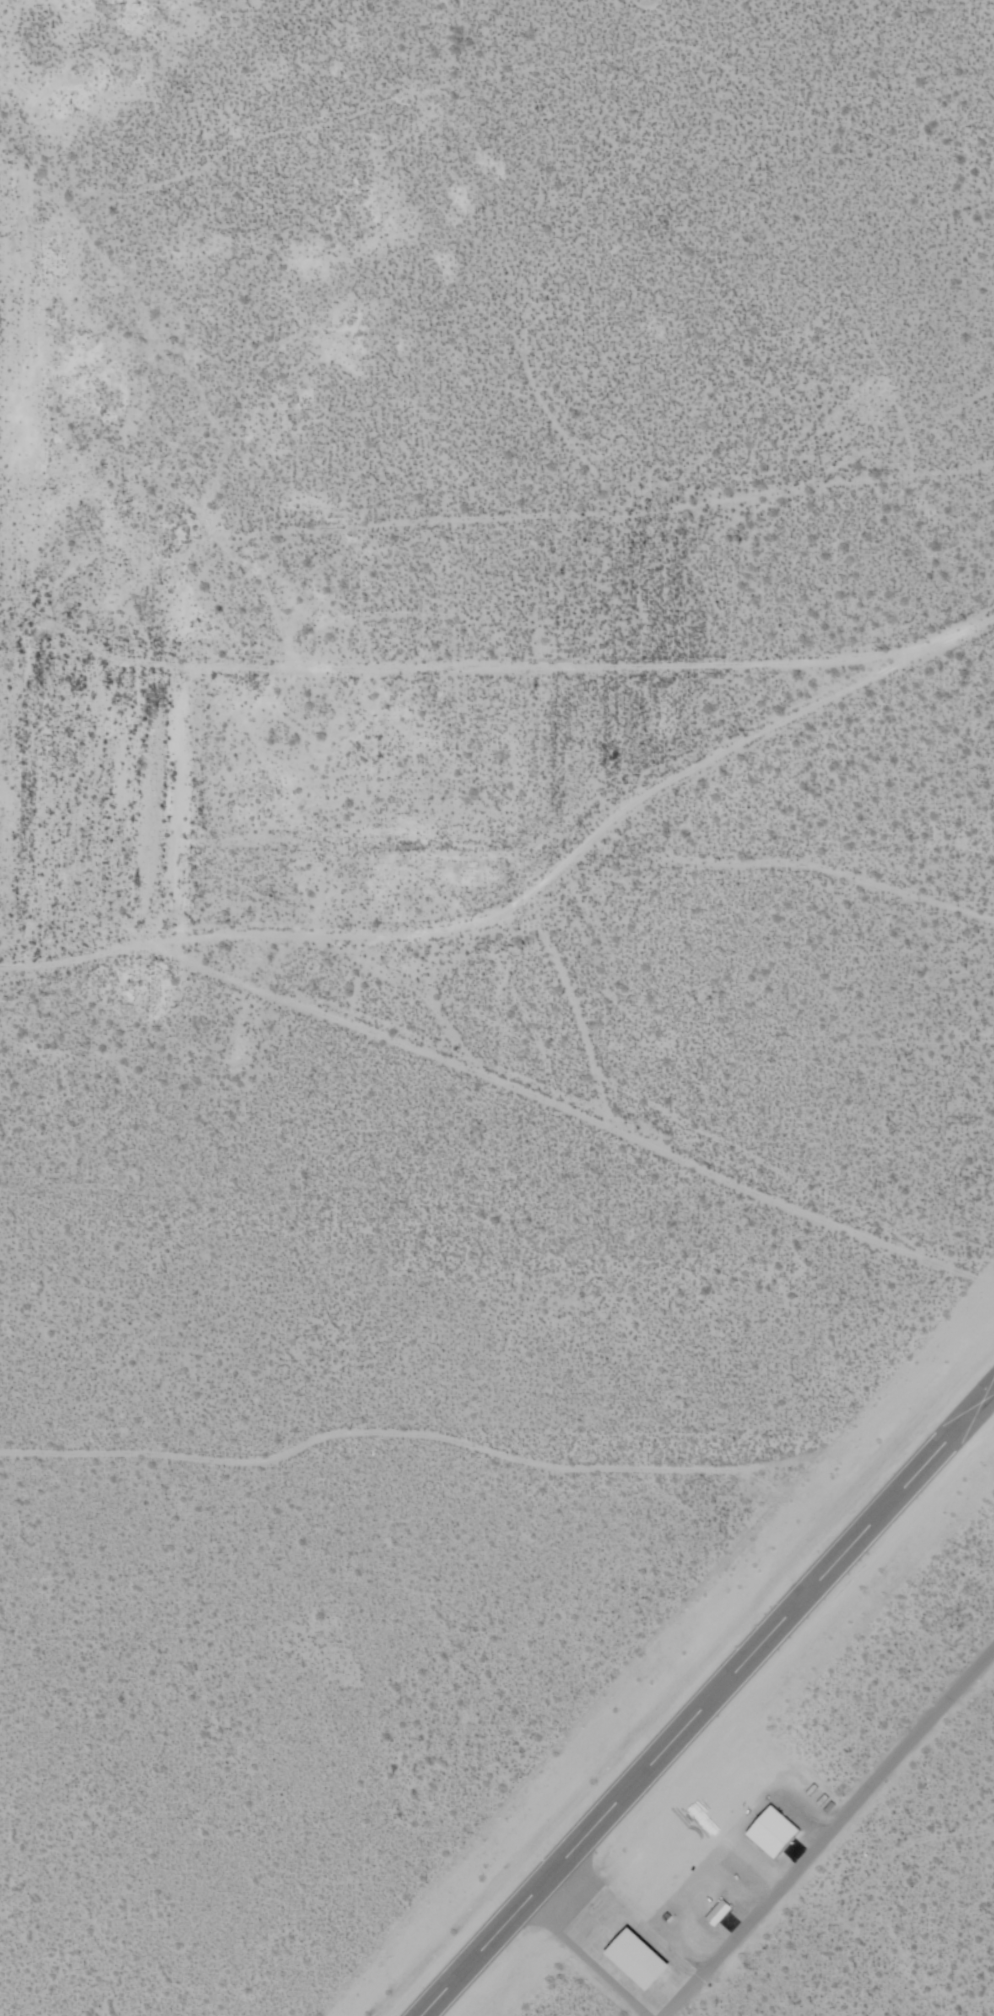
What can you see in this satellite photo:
airport: (497, 1008)
airport runway: (706, 1700)
road: (827, 1832)
building: (767, 1838)
building: (712, 1918)
building: (643, 1960)

